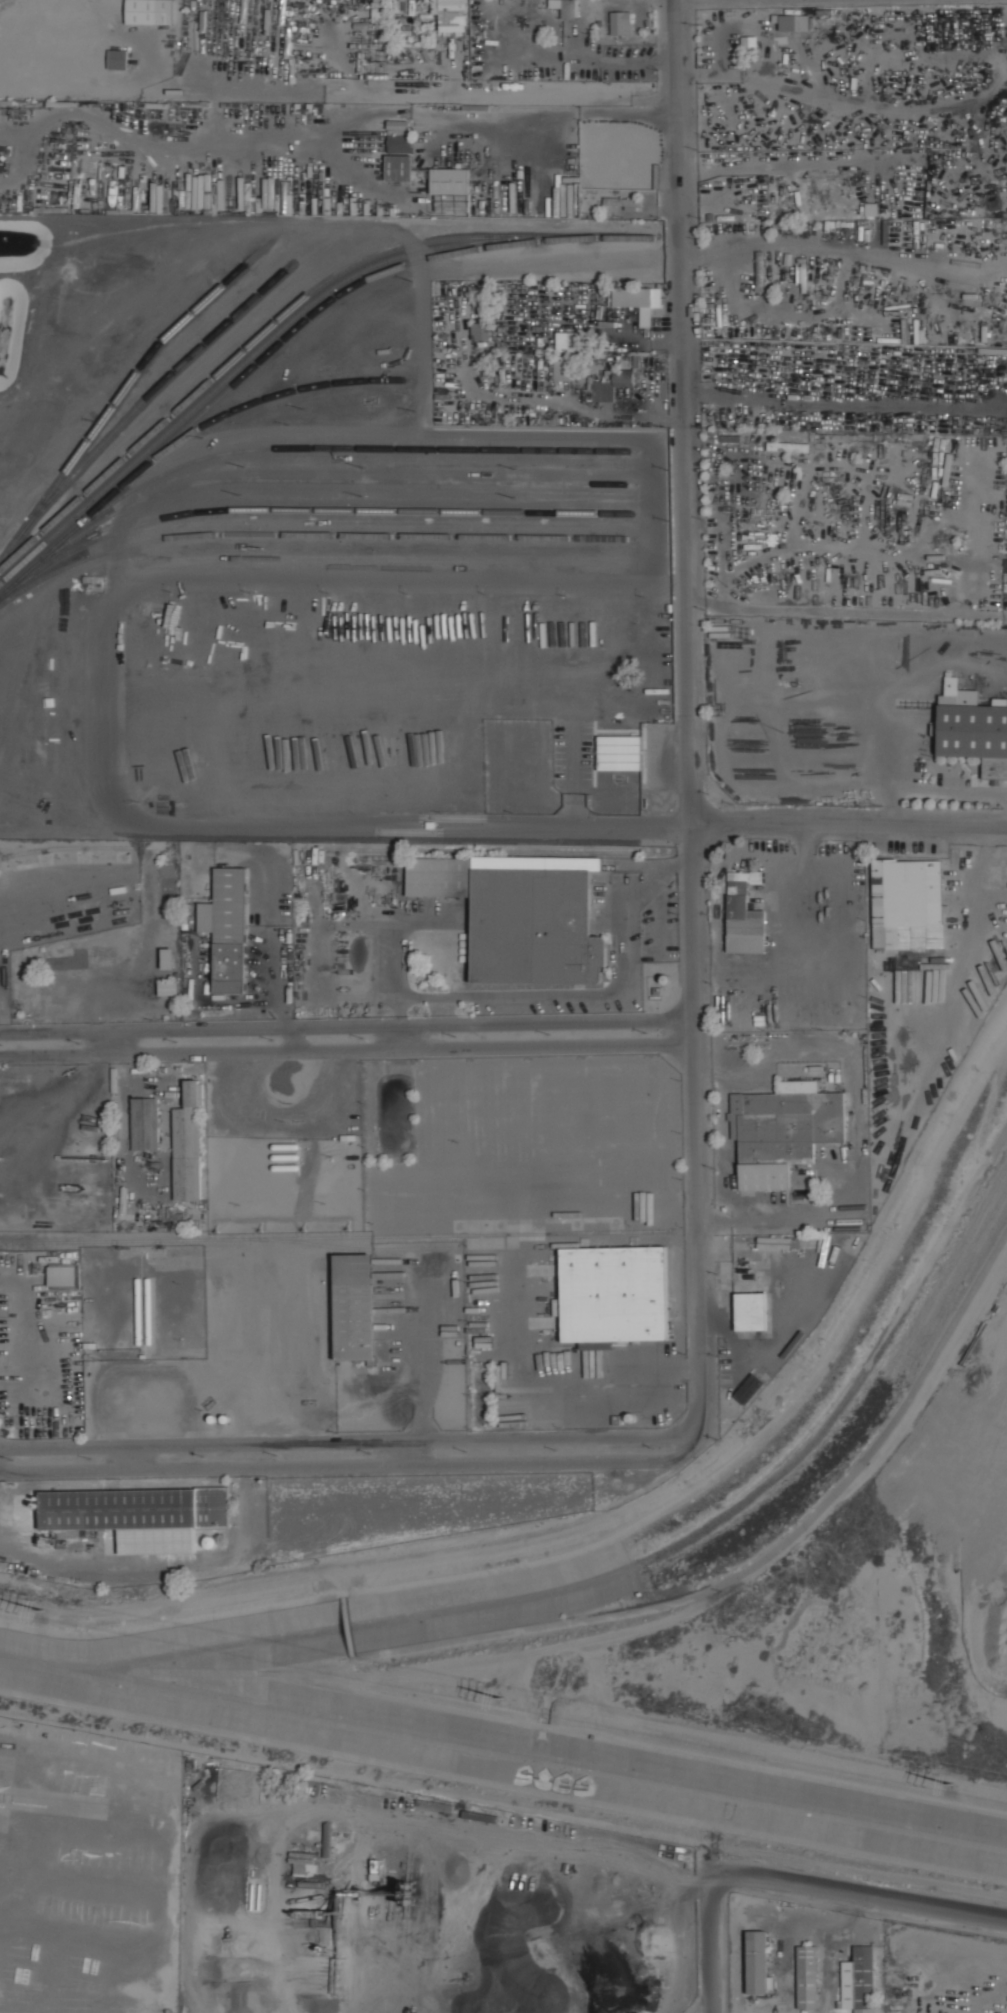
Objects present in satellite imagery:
building: (533, 5)
building: (564, 7)
building: (148, 11)
building: (452, 14)
building: (617, 22)
building: (748, 42)
building: (117, 58)
road: (602, 62)
building: (397, 124)
building: (400, 143)
building: (399, 167)
building: (449, 180)
building: (627, 202)
building: (786, 293)
building: (636, 297)
building: (479, 330)
building: (561, 368)
building: (611, 385)
building: (787, 446)
road: (111, 703)
road: (690, 717)
building: (973, 728)
building: (619, 752)
road: (850, 827)
railway: (315, 846)
building: (907, 903)
building: (521, 914)
building: (744, 915)
building: (227, 928)
building: (165, 958)
building: (168, 988)
road: (346, 1026)
road: (346, 1049)
road: (56, 1108)
building: (145, 1123)
building: (783, 1130)
building: (188, 1145)
railway: (328, 1235)
building: (62, 1275)
building: (613, 1295)
building: (354, 1307)
building: (751, 1311)
road: (551, 1387)
road: (594, 1413)
road: (347, 1440)
road: (353, 1463)
building: (139, 1515)
road: (755, 1562)
power tower: (43, 1610)
road: (170, 1621)
road: (345, 1626)
power tower: (504, 1698)
power tower: (954, 1785)
building: (305, 1862)
road: (860, 1885)
road: (713, 1936)
building: (758, 1963)
building: (808, 1977)
building: (859, 1980)

